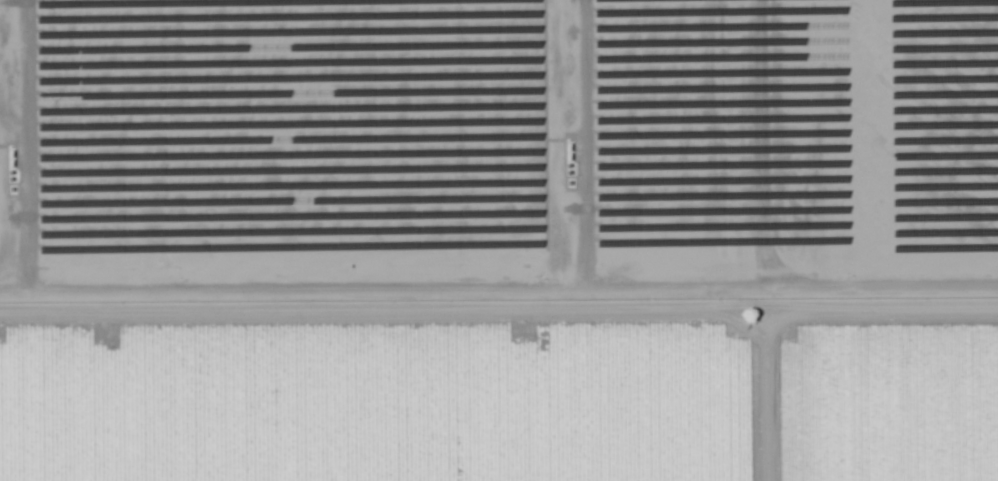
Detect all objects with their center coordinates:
solar farm: (497, 153)
crop: (881, 406)
crop: (381, 407)

